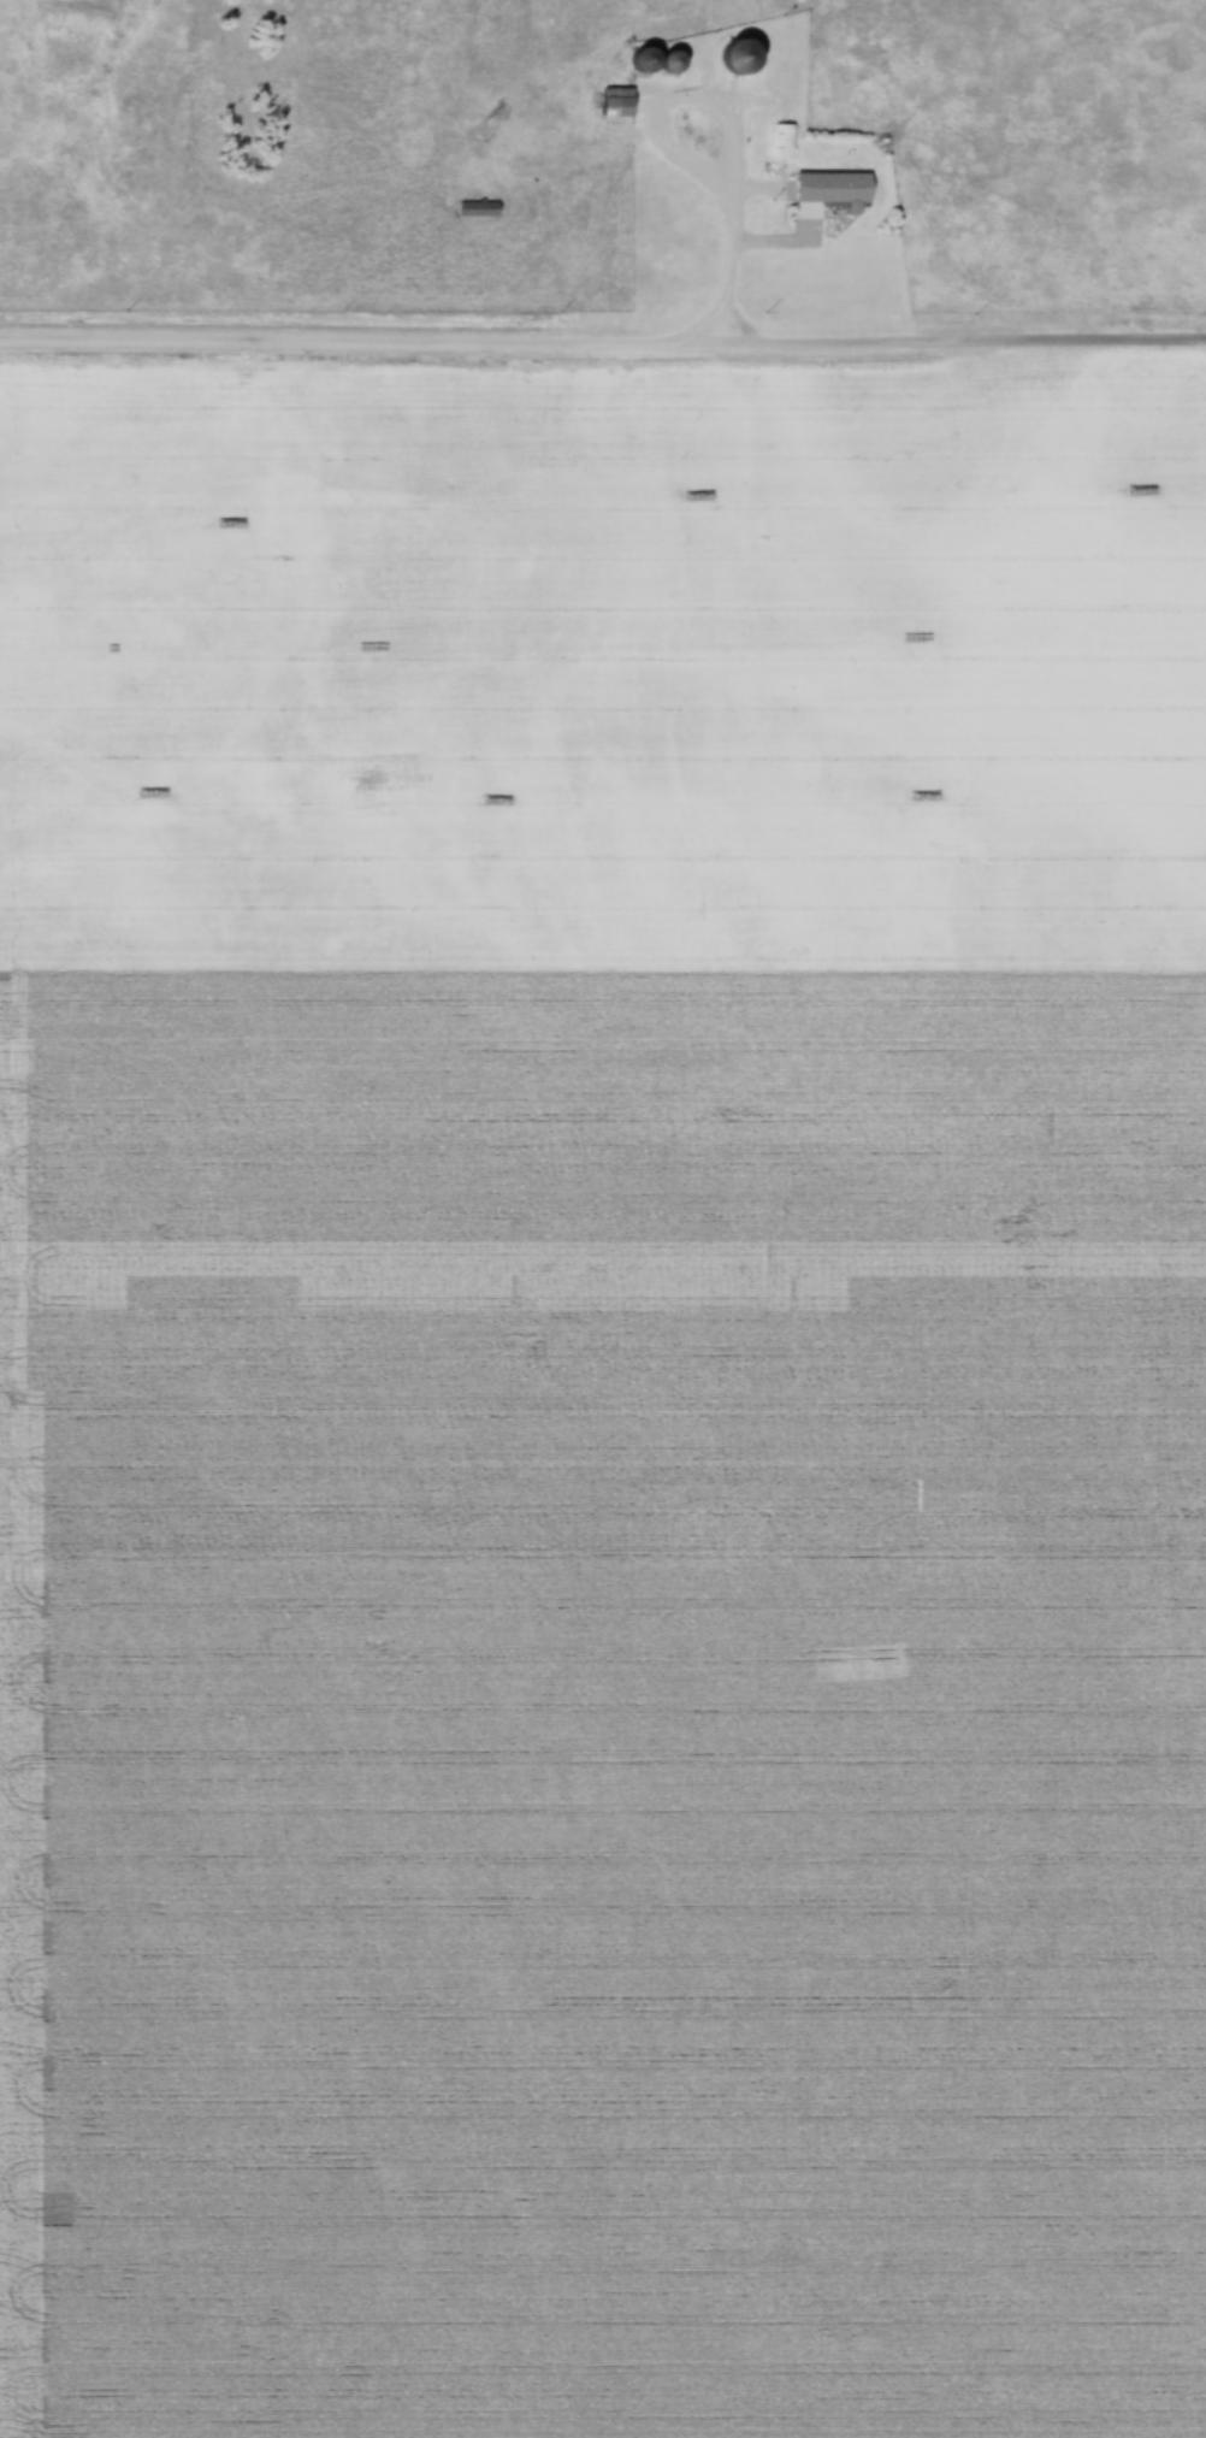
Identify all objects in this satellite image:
building: (743, 58)
building: (650, 61)
building: (678, 64)
building: (620, 104)
road: (734, 128)
building: (787, 142)
building: (850, 190)
building: (480, 209)
road: (602, 349)

